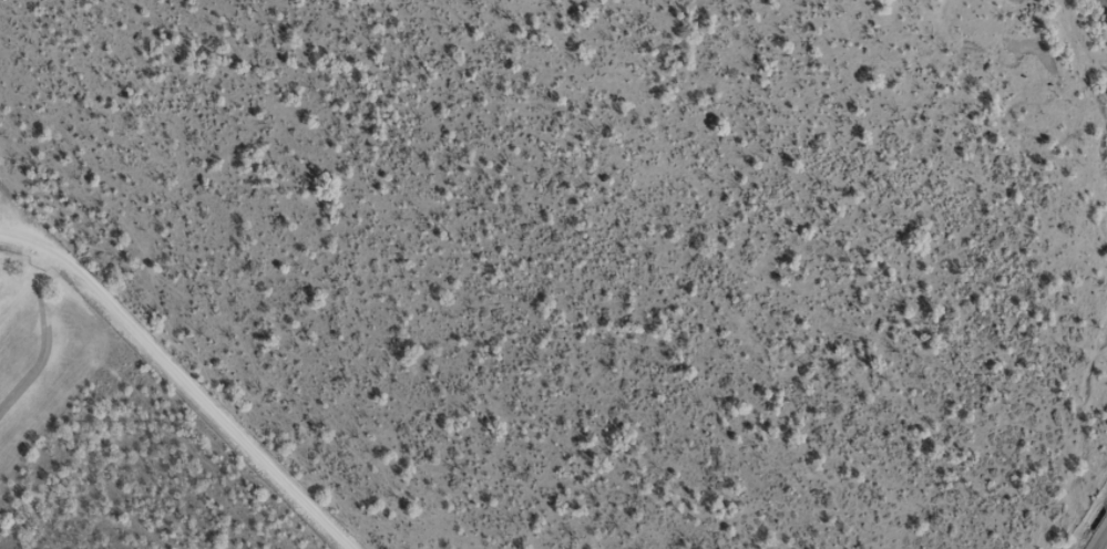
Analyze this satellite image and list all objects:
road: (173, 398)
road: (1104, 545)

